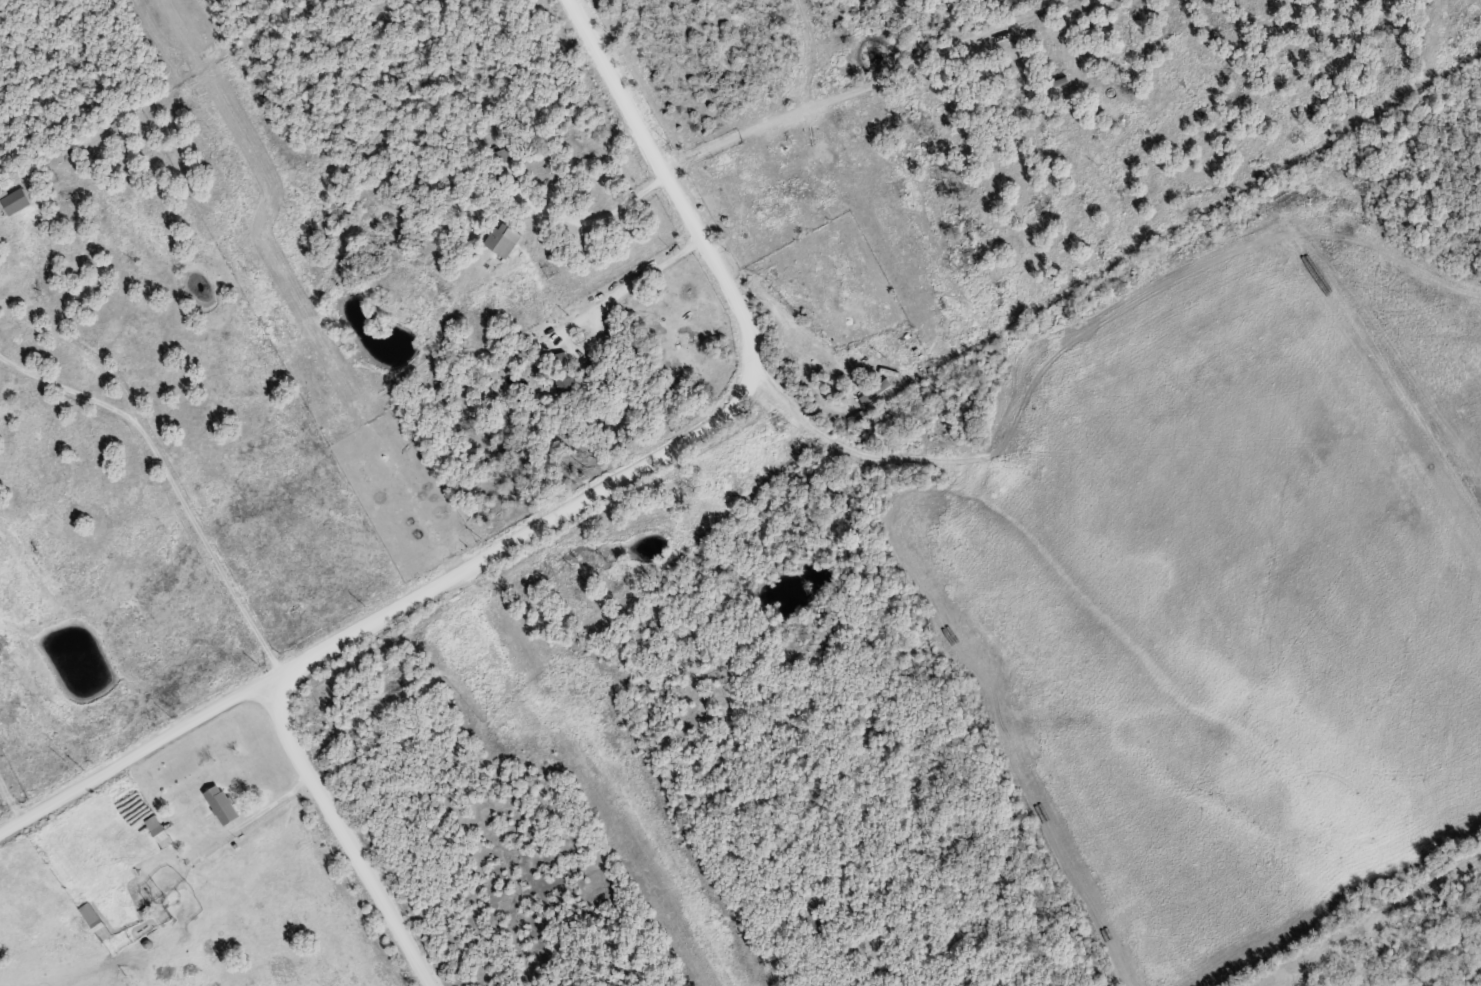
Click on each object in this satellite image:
building: (1061, 77)
building: (504, 154)
road: (685, 195)
building: (17, 200)
road: (1101, 307)
building: (565, 373)
building: (876, 389)
road: (377, 622)
building: (224, 803)
road: (343, 822)
building: (160, 829)
building: (96, 919)

